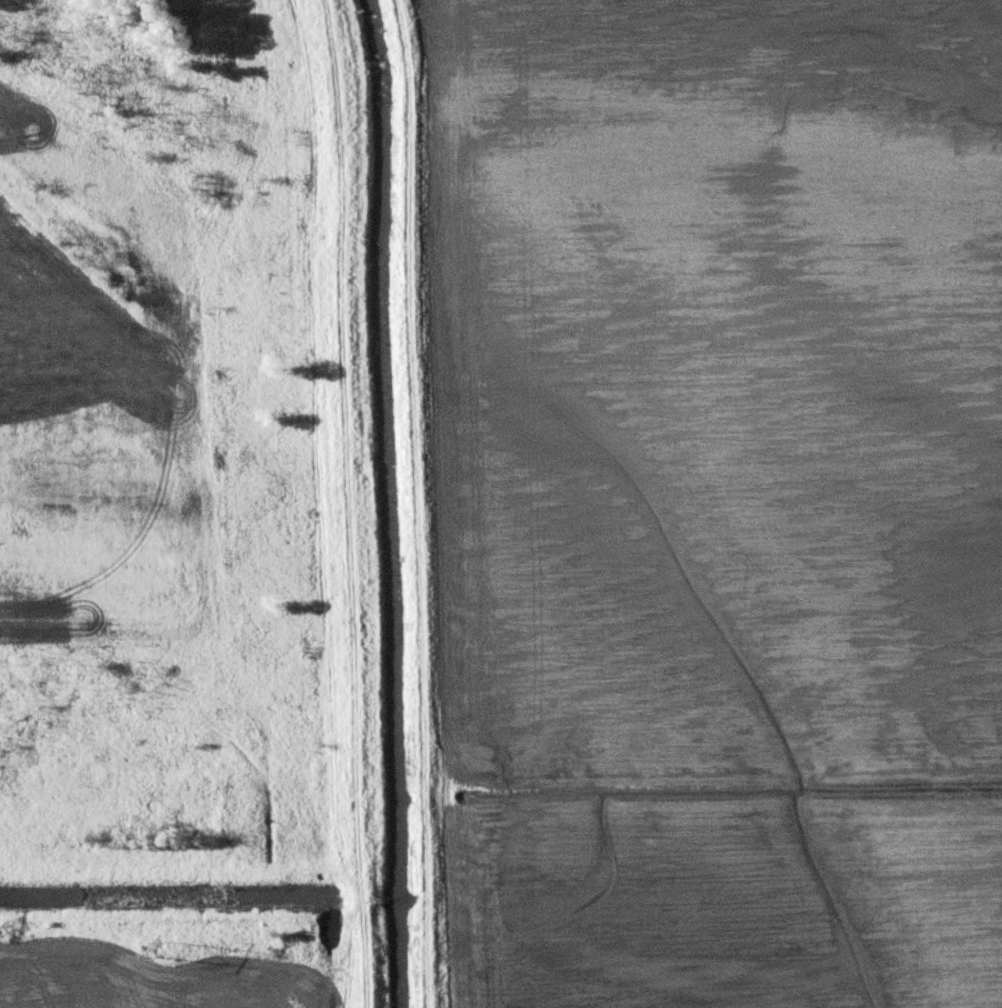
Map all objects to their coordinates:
road: (345, 503)
road: (177, 872)
power tower: (166, 945)

